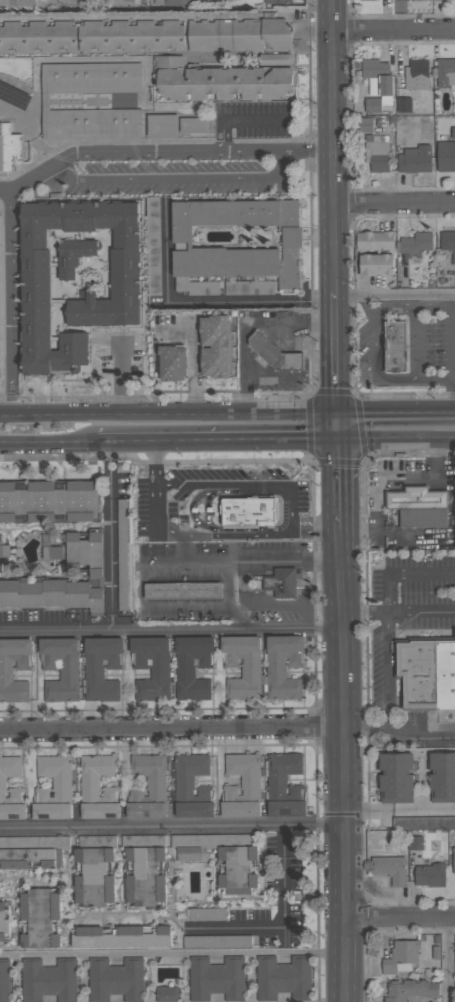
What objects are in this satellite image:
building: (368, 0)
building: (416, 0)
building: (441, 0)
building: (280, 1)
building: (17, 3)
building: (122, 3)
building: (173, 3)
road: (328, 18)
road: (392, 35)
building: (240, 36)
building: (92, 37)
building: (276, 59)
building: (417, 74)
building: (446, 74)
building: (222, 83)
building: (377, 85)
building: (45, 101)
building: (404, 105)
road: (238, 120)
building: (194, 125)
building: (162, 126)
building: (9, 149)
building: (376, 155)
building: (446, 155)
building: (415, 159)
road: (330, 163)
road: (54, 165)
road: (171, 179)
road: (4, 190)
road: (393, 204)
building: (236, 240)
building: (375, 240)
building: (448, 243)
building: (416, 244)
building: (153, 246)
building: (74, 256)
building: (35, 261)
building: (374, 265)
building: (249, 288)
road: (395, 299)
road: (202, 303)
road: (434, 307)
road: (454, 321)
road: (246, 328)
building: (395, 346)
building: (216, 347)
road: (338, 353)
building: (171, 363)
road: (411, 377)
road: (434, 382)
road: (170, 417)
road: (398, 417)
traffic signals: (342, 418)
road: (342, 429)
road: (218, 440)
traffic signals: (343, 440)
road: (399, 440)
road: (47, 442)
road: (155, 463)
road: (386, 478)
road: (240, 485)
road: (343, 488)
building: (48, 502)
building: (419, 507)
road: (155, 512)
building: (248, 512)
road: (317, 524)
road: (110, 535)
road: (231, 536)
building: (79, 550)
building: (123, 555)
road: (263, 562)
building: (96, 575)
building: (280, 583)
building: (182, 591)
building: (51, 595)
road: (262, 605)
road: (399, 612)
road: (172, 627)
road: (387, 655)
building: (151, 667)
building: (192, 667)
building: (242, 667)
building: (283, 667)
building: (14, 669)
building: (61, 669)
building: (102, 669)
building: (426, 675)
road: (173, 726)
road: (366, 728)
road: (346, 730)
building: (283, 776)
building: (396, 778)
building: (442, 778)
building: (242, 787)
building: (98, 788)
building: (148, 788)
building: (53, 789)
building: (286, 809)
building: (194, 810)
road: (423, 811)
road: (368, 812)
road: (173, 830)
building: (223, 840)
building: (415, 843)
building: (190, 846)
building: (32, 852)
building: (454, 863)
building: (390, 869)
building: (238, 870)
building: (430, 876)
building: (94, 878)
building: (145, 878)
building: (207, 914)
building: (41, 919)
building: (4, 921)
road: (401, 922)
road: (282, 923)
building: (121, 938)
road: (347, 938)
building: (217, 941)
road: (173, 953)
building: (402, 958)
road: (447, 962)
road: (347, 978)
building: (216, 979)
building: (284, 979)
building: (116, 980)
building: (4, 981)
building: (49, 981)
building: (410, 990)
building: (167, 994)

